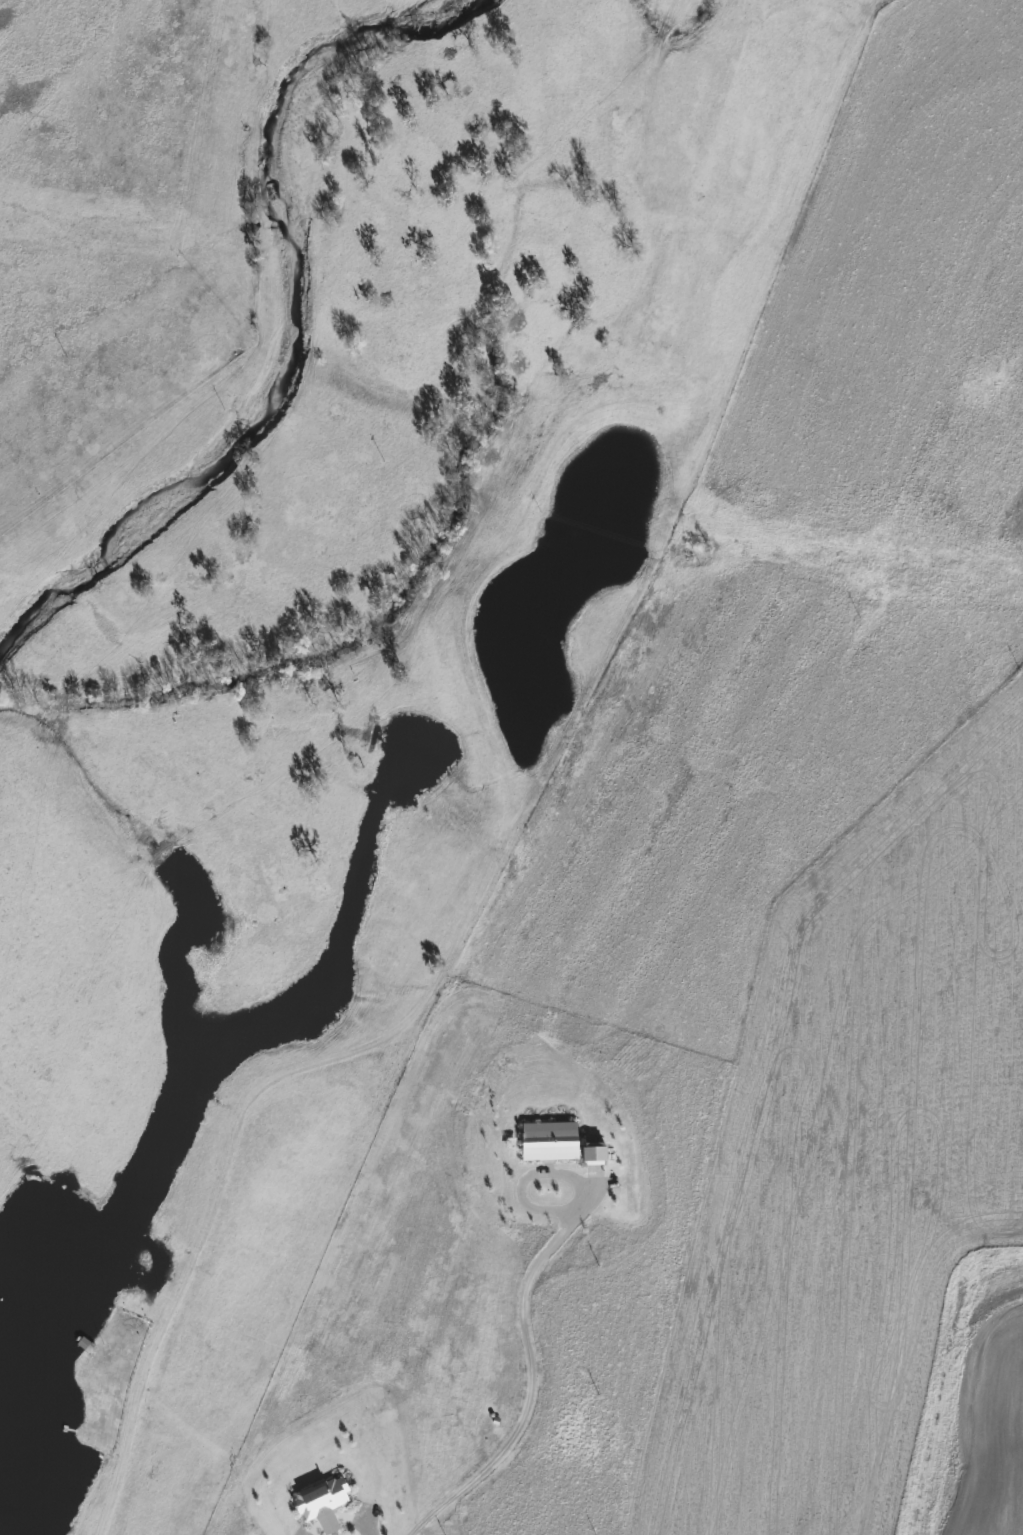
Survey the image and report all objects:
road: (529, 1376)

